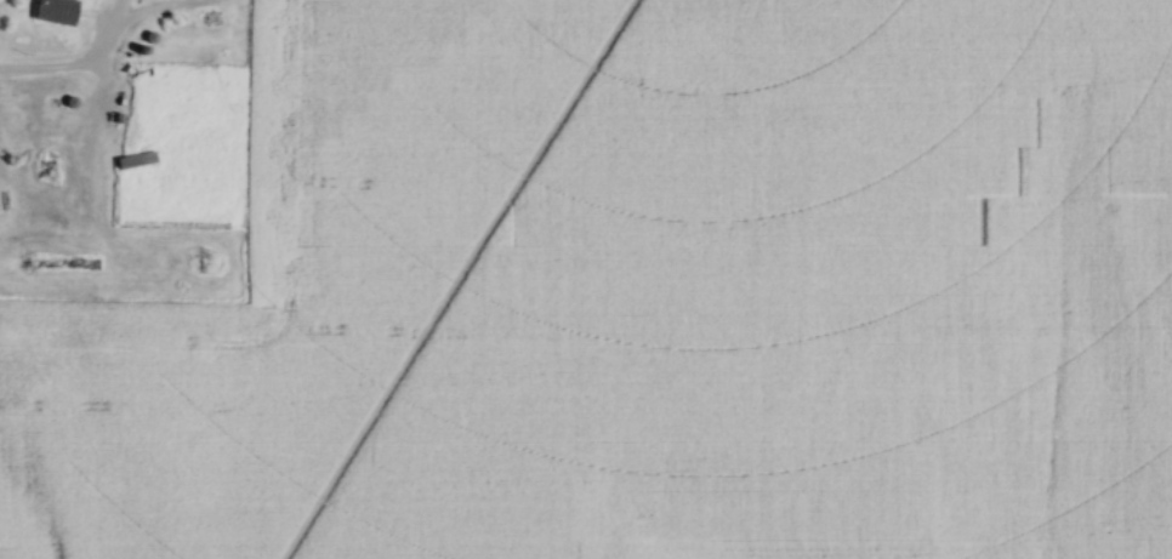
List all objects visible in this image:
building: (56, 12)
road: (103, 42)
building: (21, 119)
building: (135, 161)

